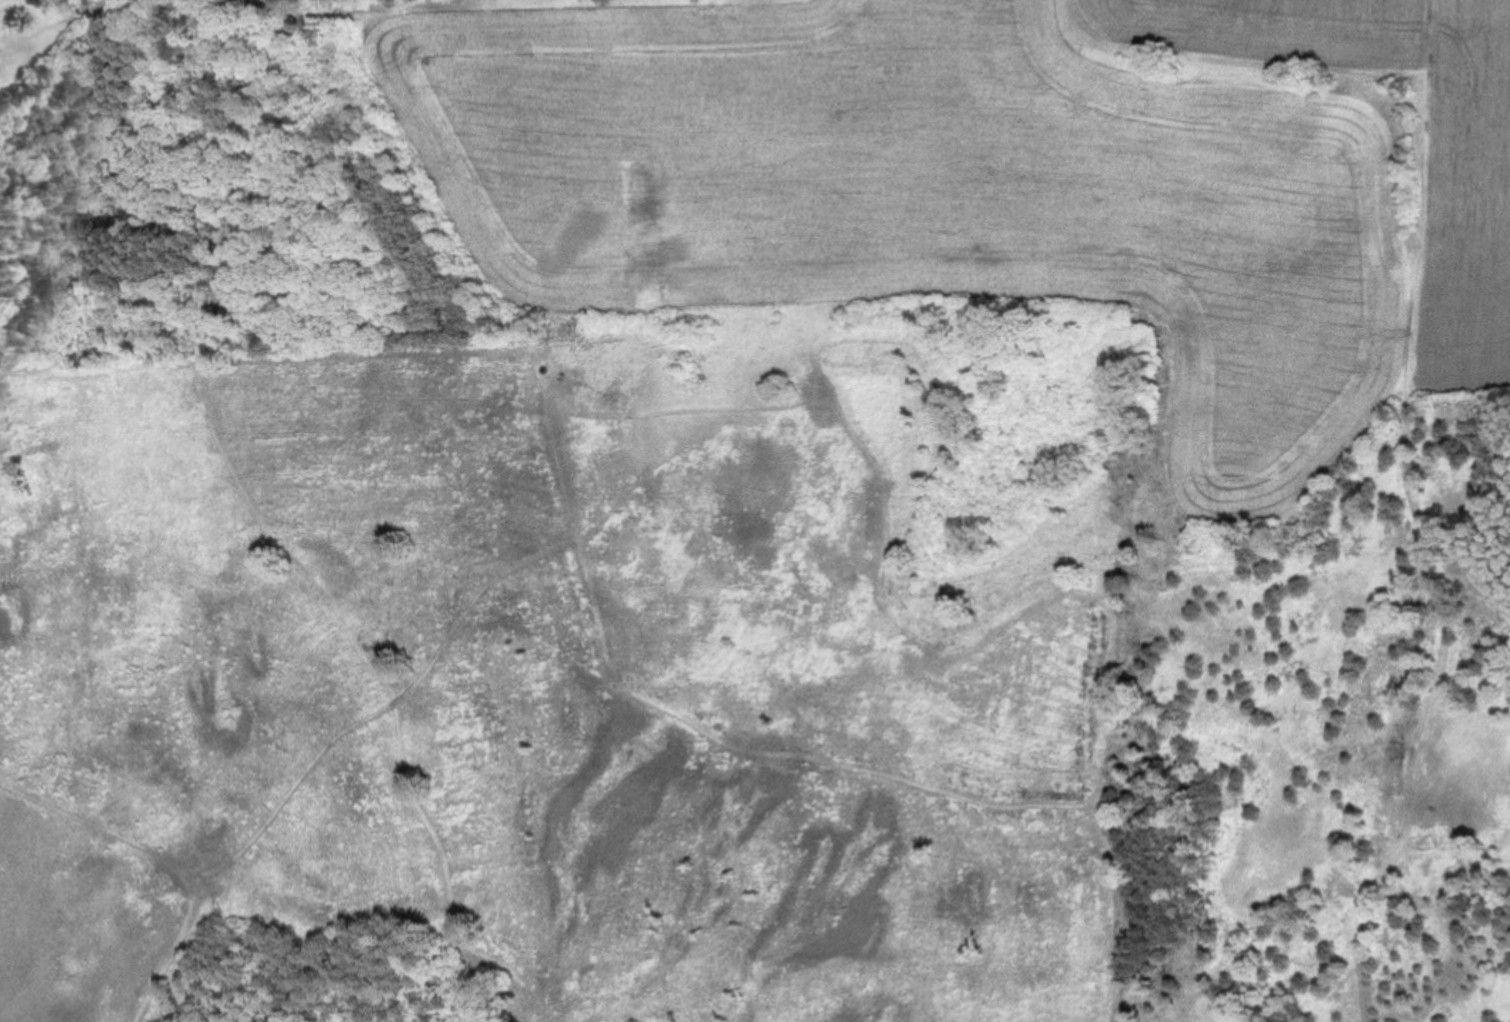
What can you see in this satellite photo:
crop: (571, 169)
crop: (1320, 257)
road: (294, 359)
road: (1416, 518)
road: (278, 542)
road: (1092, 594)
road: (471, 604)
road: (291, 788)
road: (98, 826)
road: (445, 875)
road: (1117, 912)
road: (172, 950)

